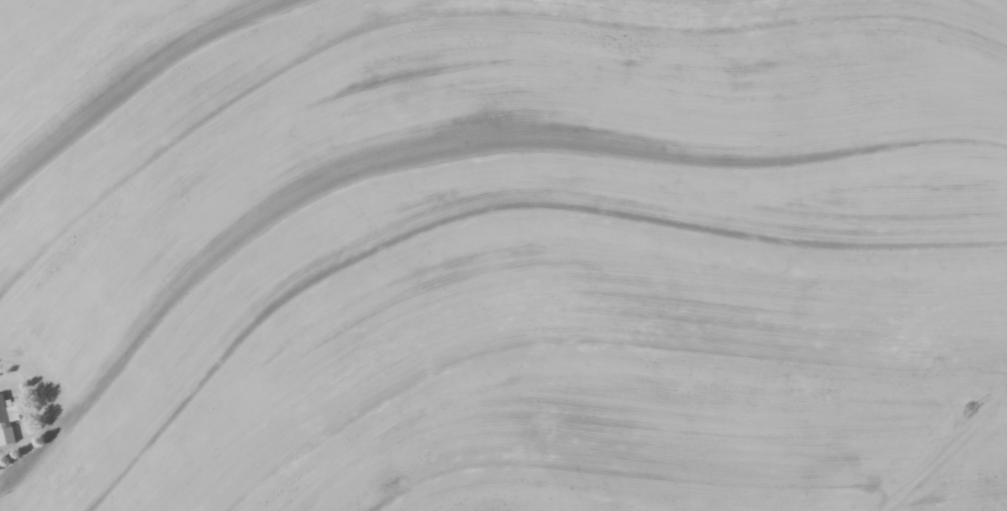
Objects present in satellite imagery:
road: (925, 440)

